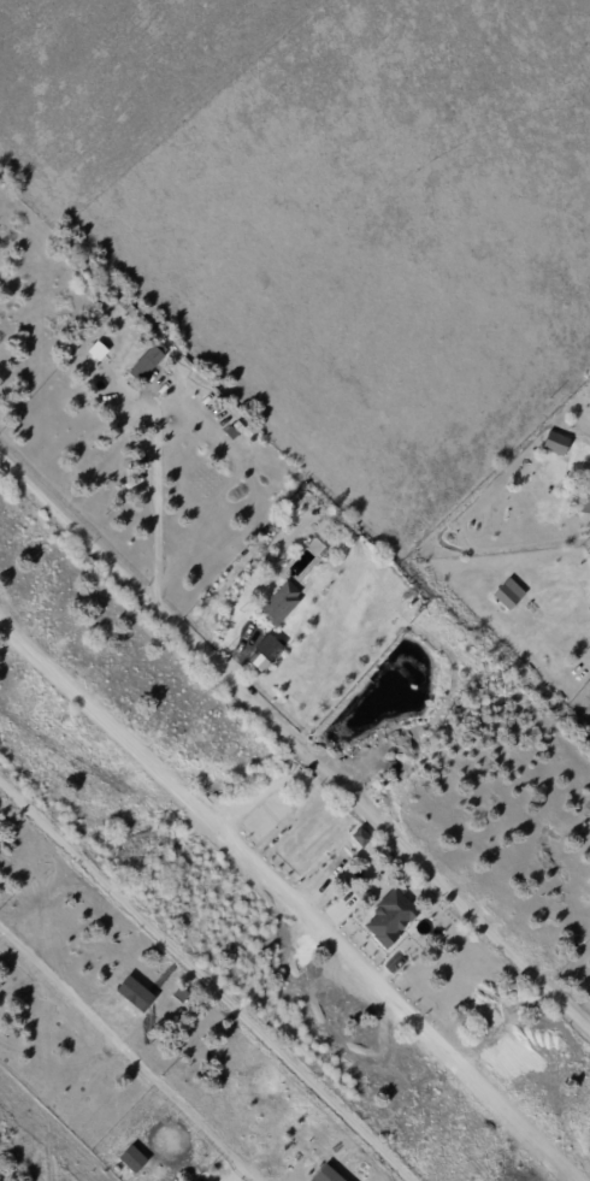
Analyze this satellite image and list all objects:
building: (101, 350)
building: (152, 361)
road: (154, 427)
building: (556, 444)
building: (519, 466)
building: (586, 496)
building: (589, 554)
building: (509, 595)
building: (285, 603)
building: (269, 652)
road: (297, 745)
road: (290, 897)
building: (391, 919)
road: (212, 975)
road: (126, 1055)
building: (331, 1175)

